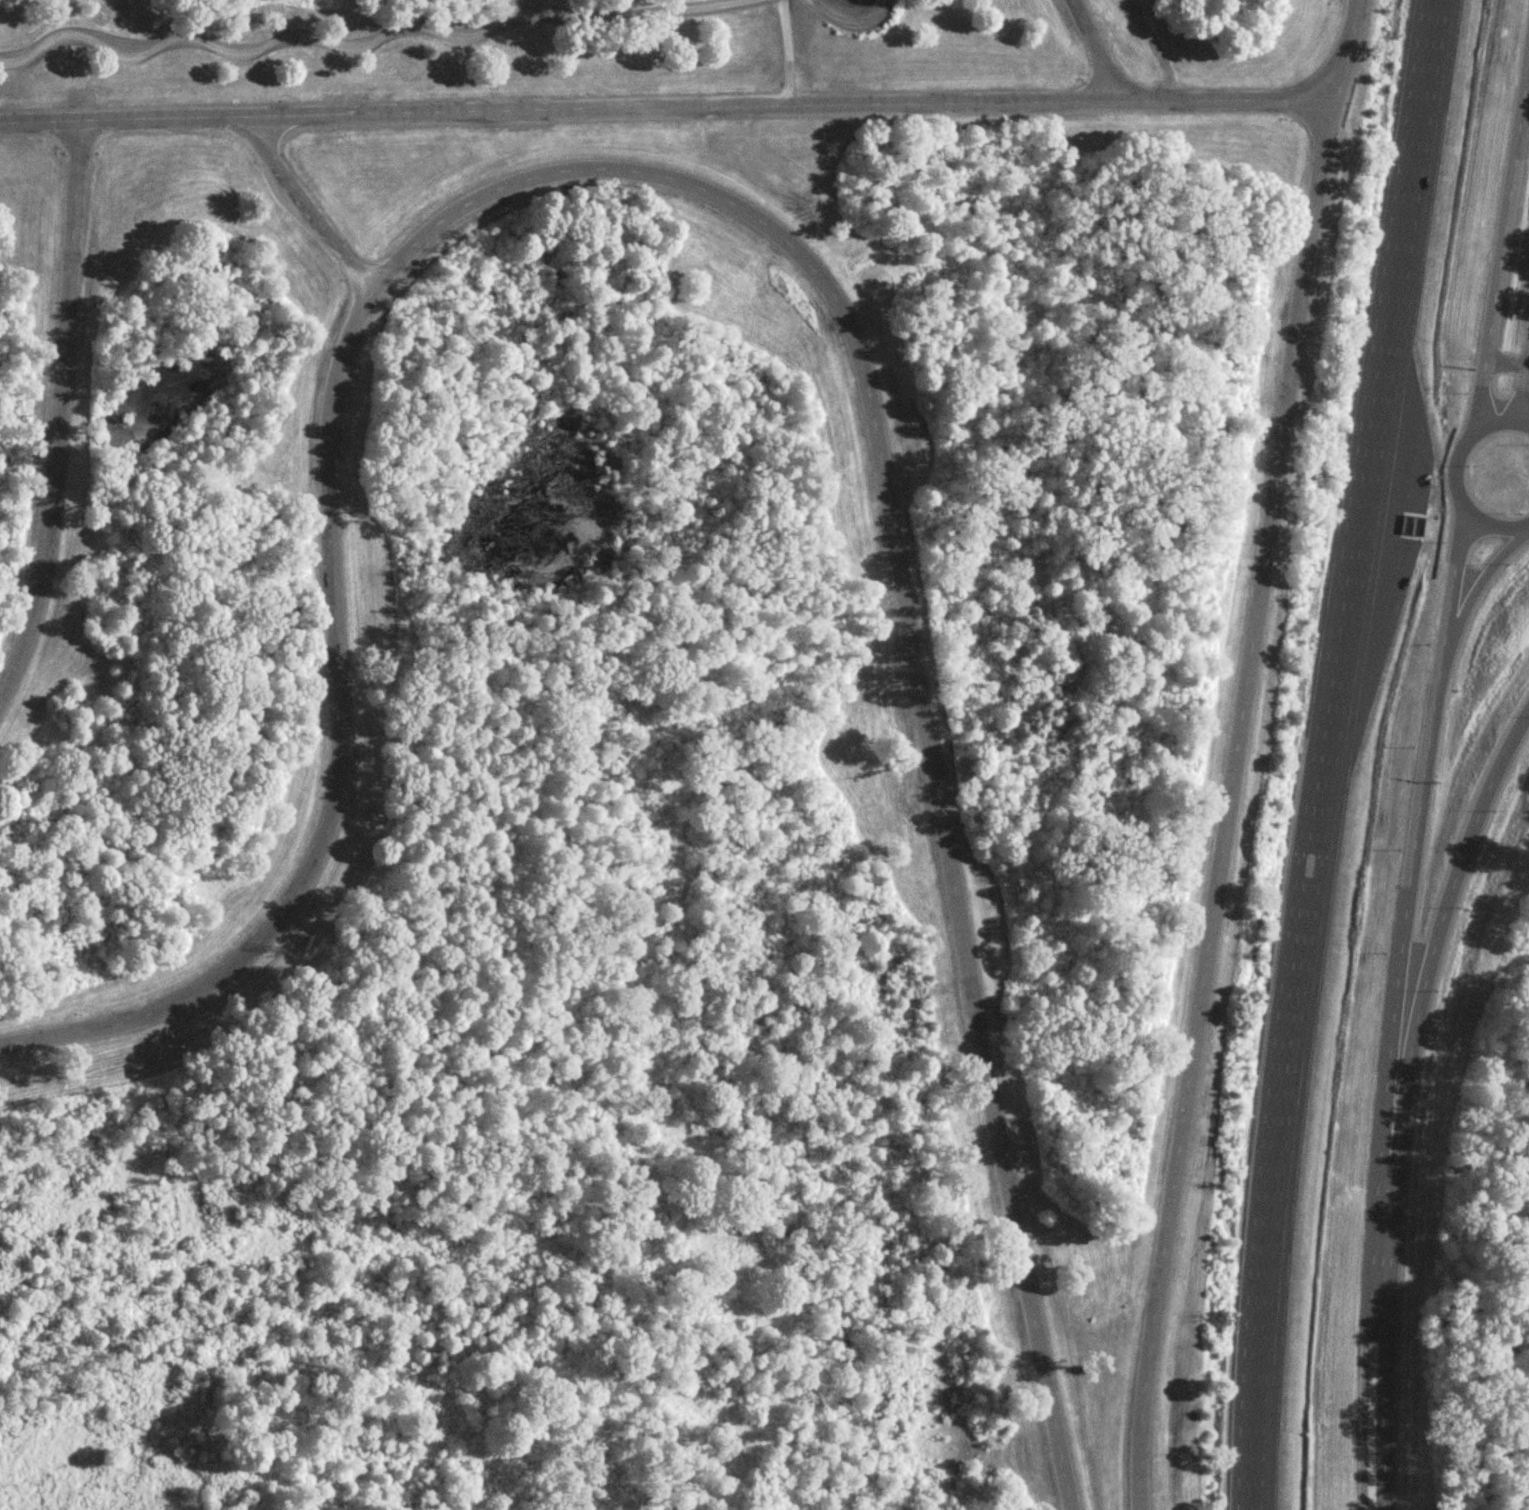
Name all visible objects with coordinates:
road: (852, 21)
road: (376, 35)
road: (1096, 52)
road: (787, 53)
road: (667, 109)
road: (308, 208)
raceway: (731, 208)
raceway: (57, 413)
road: (1519, 416)
road: (1498, 480)
raceway: (1232, 753)
raceway: (1337, 754)
raceway: (1428, 784)

